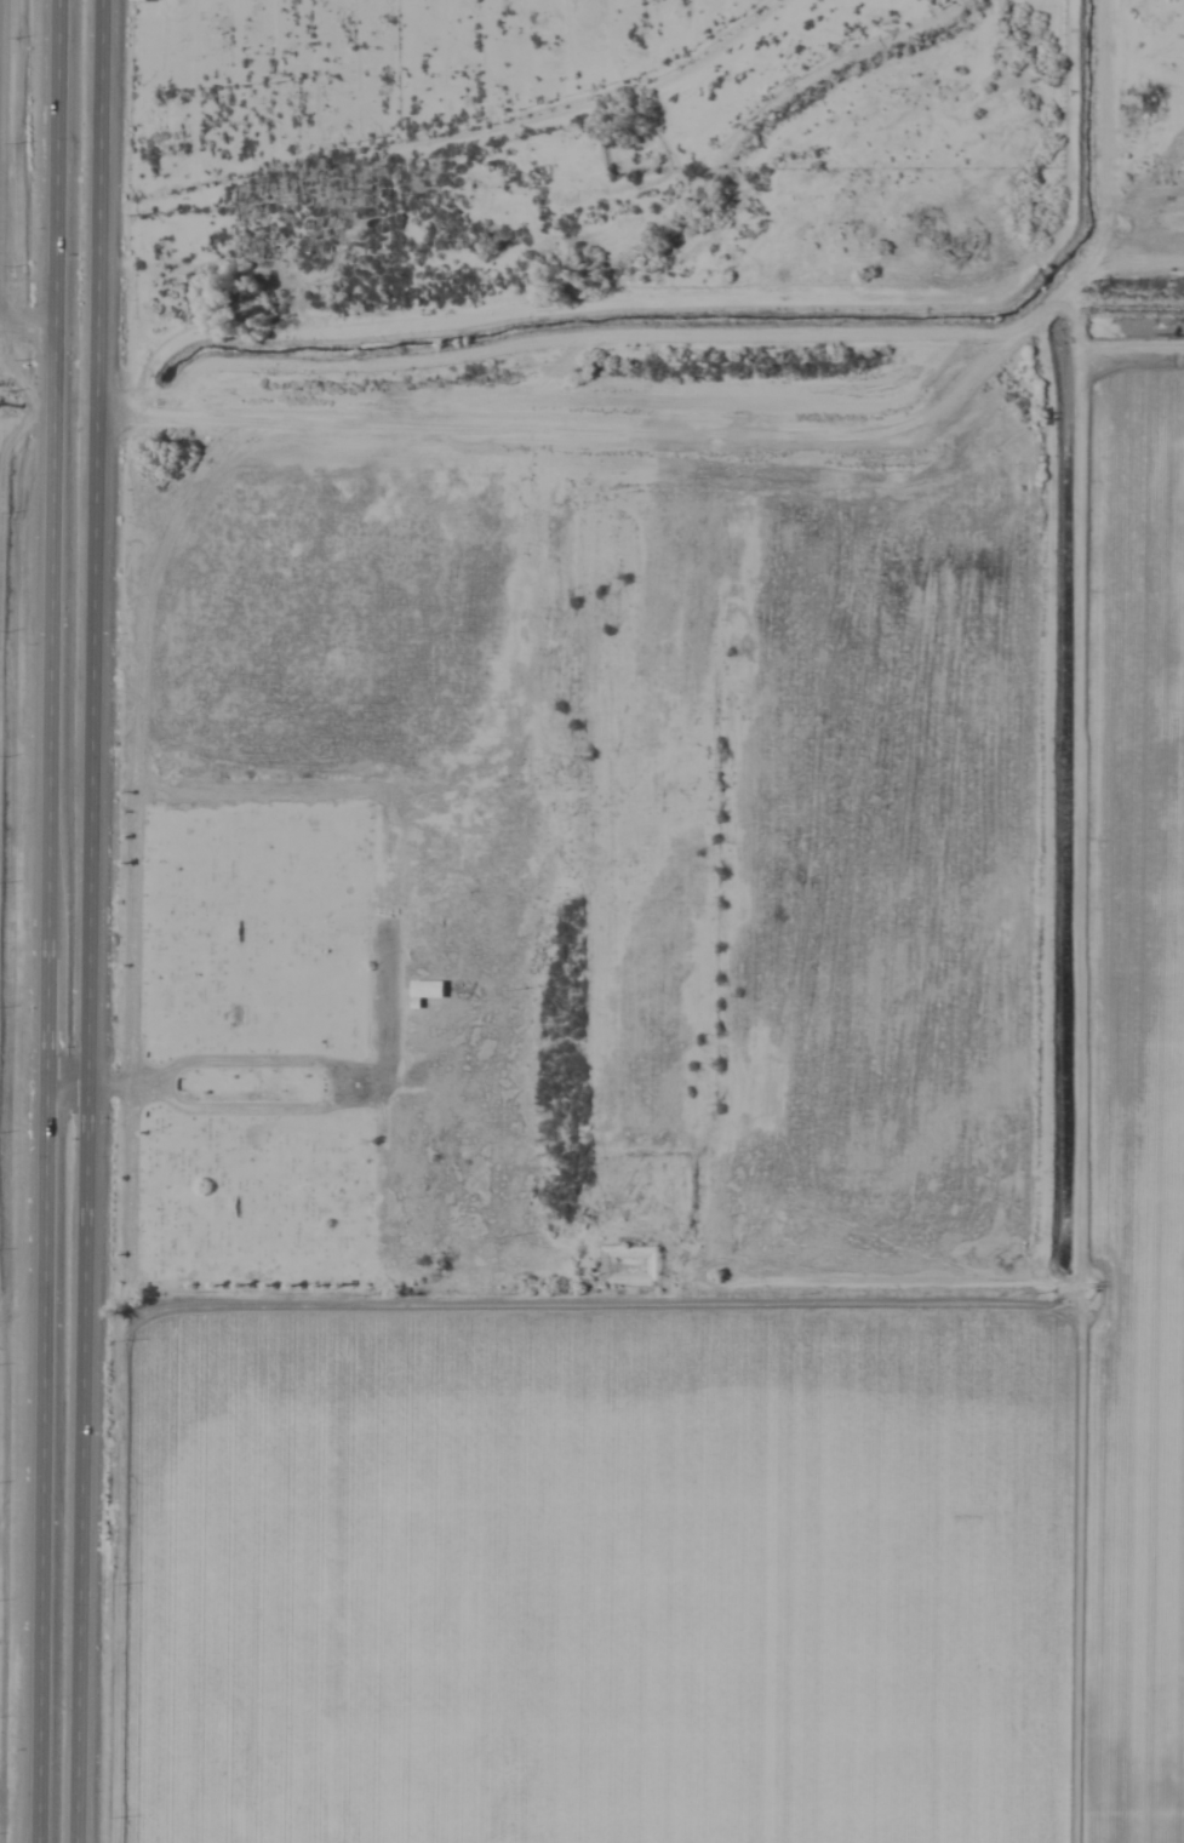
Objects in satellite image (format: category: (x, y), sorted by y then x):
road: (23, 328)
road: (39, 921)
road: (85, 921)
building: (425, 991)
park: (263, 1031)

